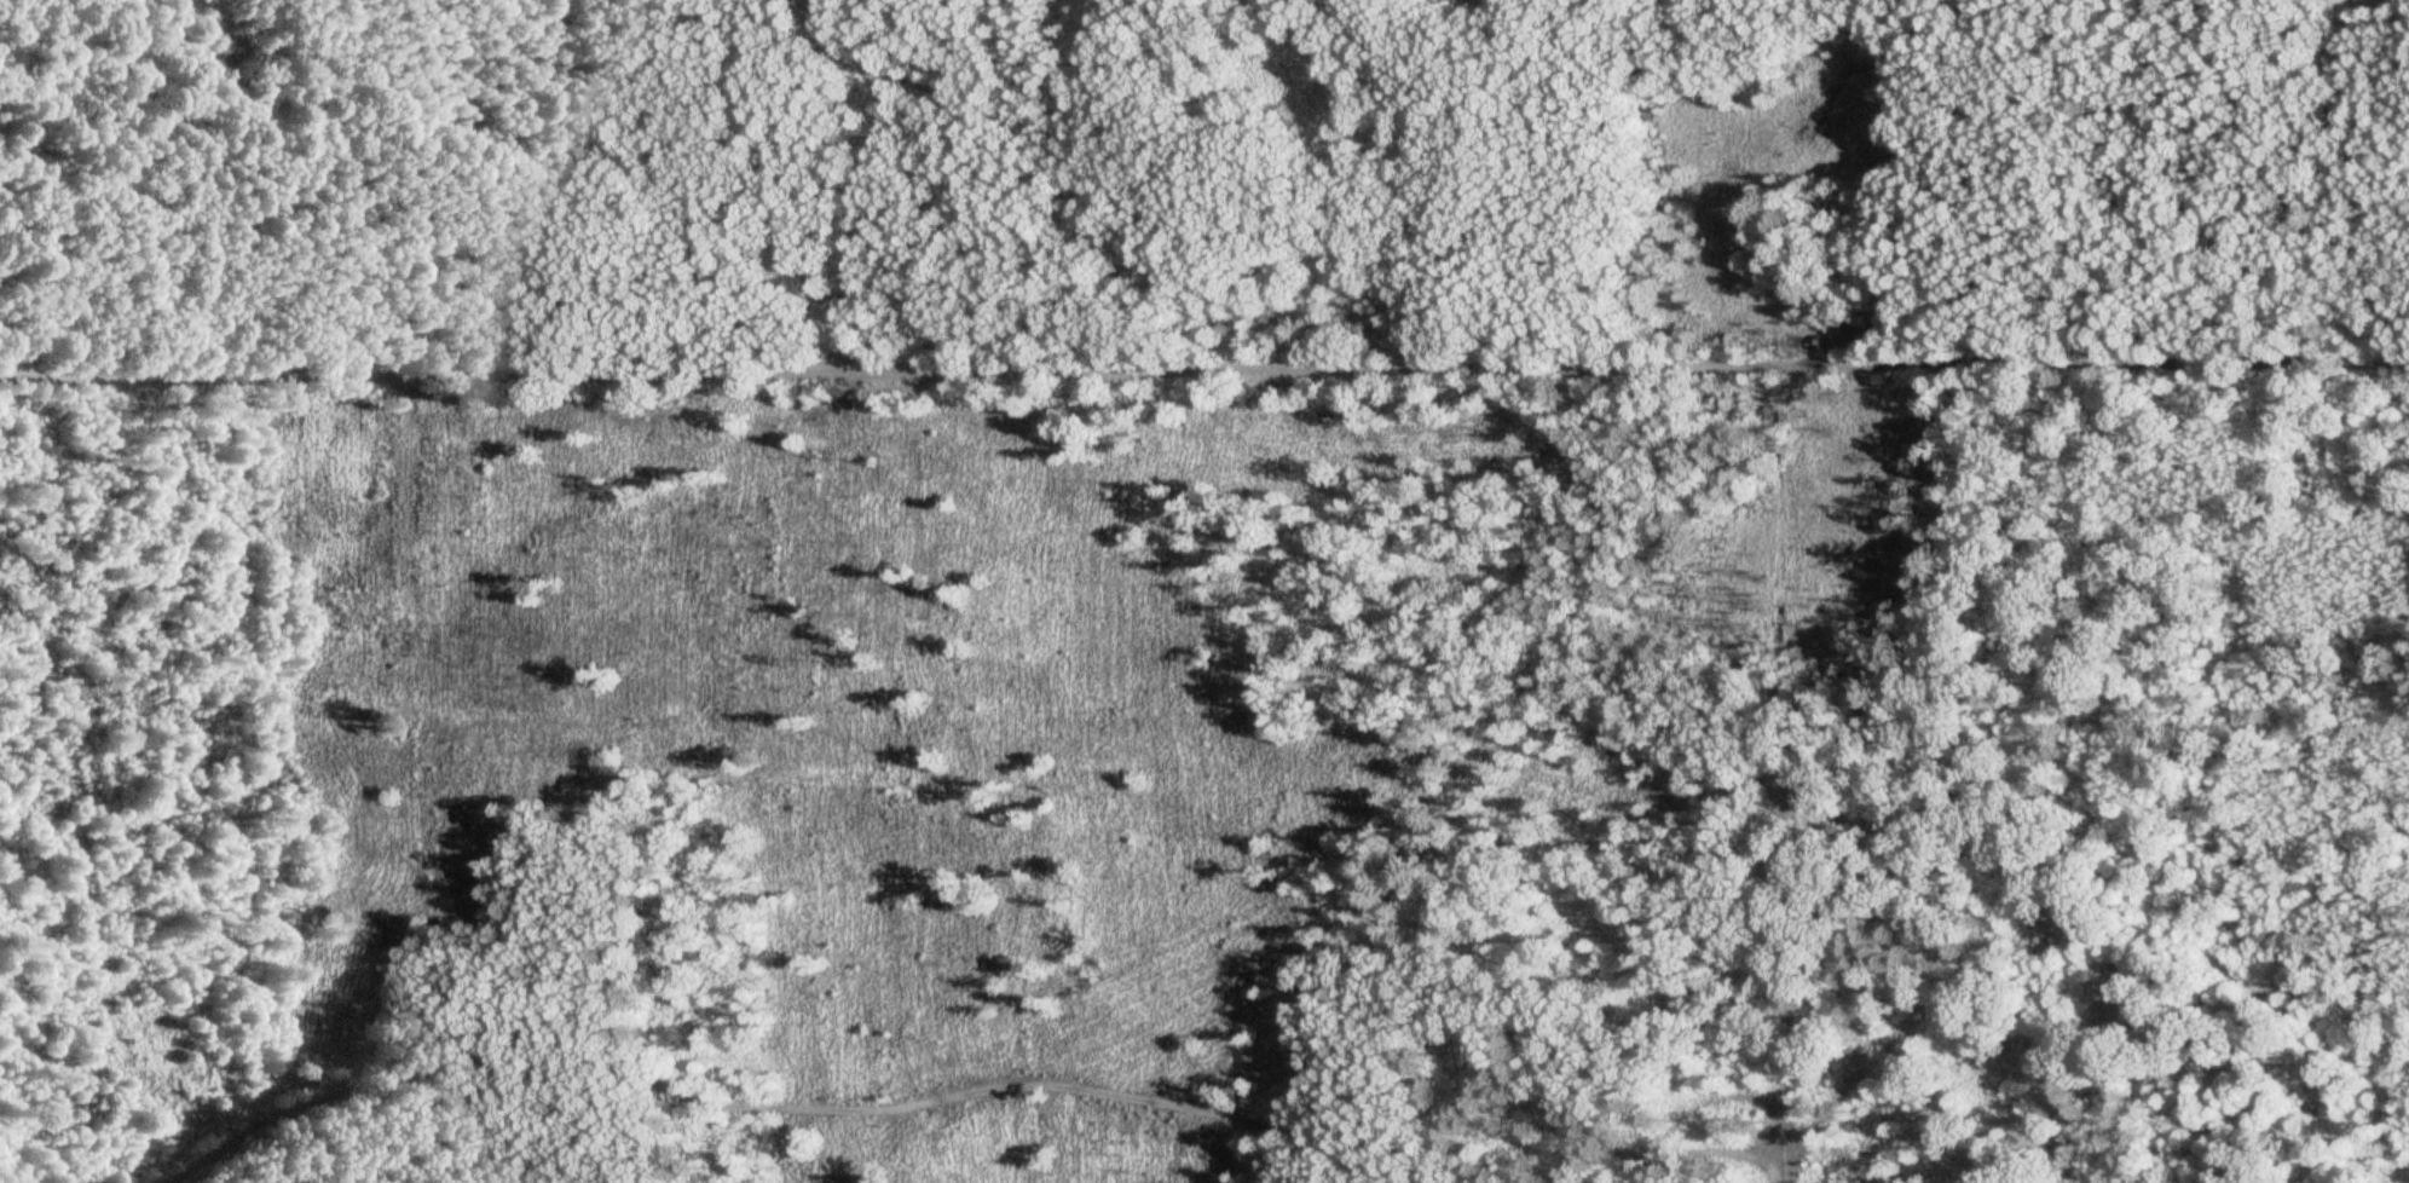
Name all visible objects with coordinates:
road: (877, 174)
road: (1204, 371)
road: (1787, 987)
road: (782, 1107)
road: (1704, 1158)
road: (6, 1181)

